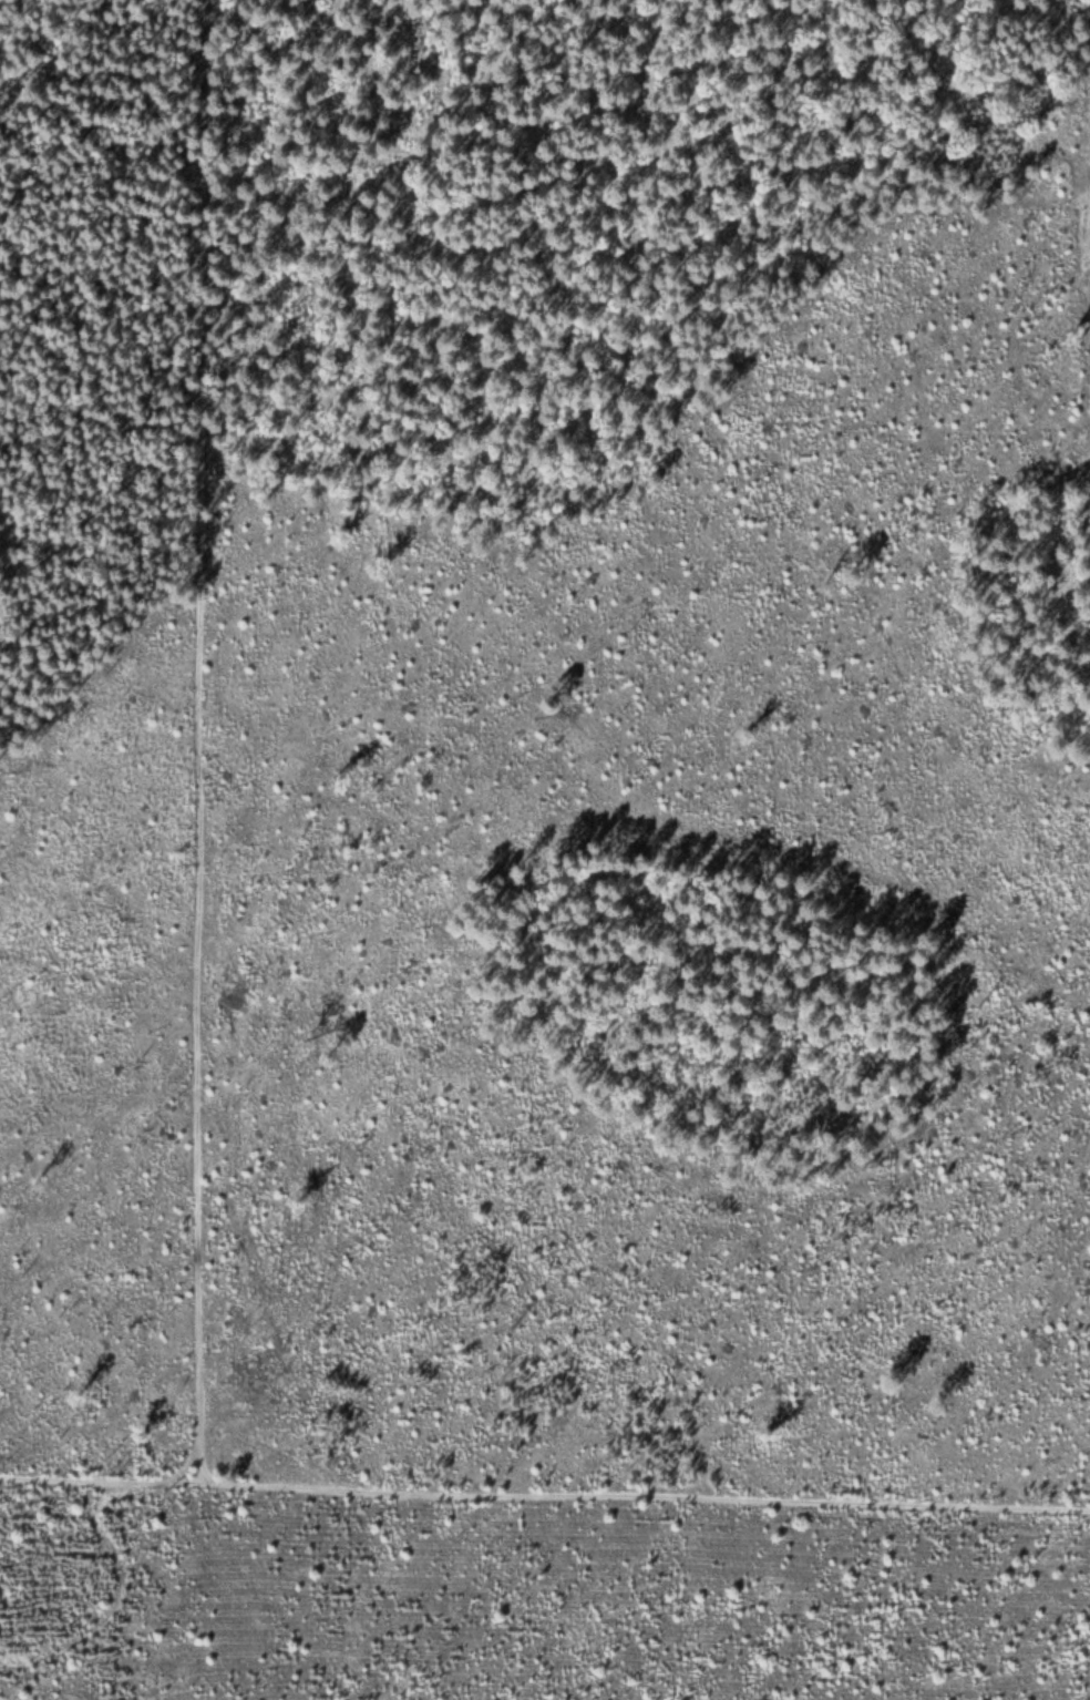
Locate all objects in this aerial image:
road: (204, 743)
road: (544, 1502)

